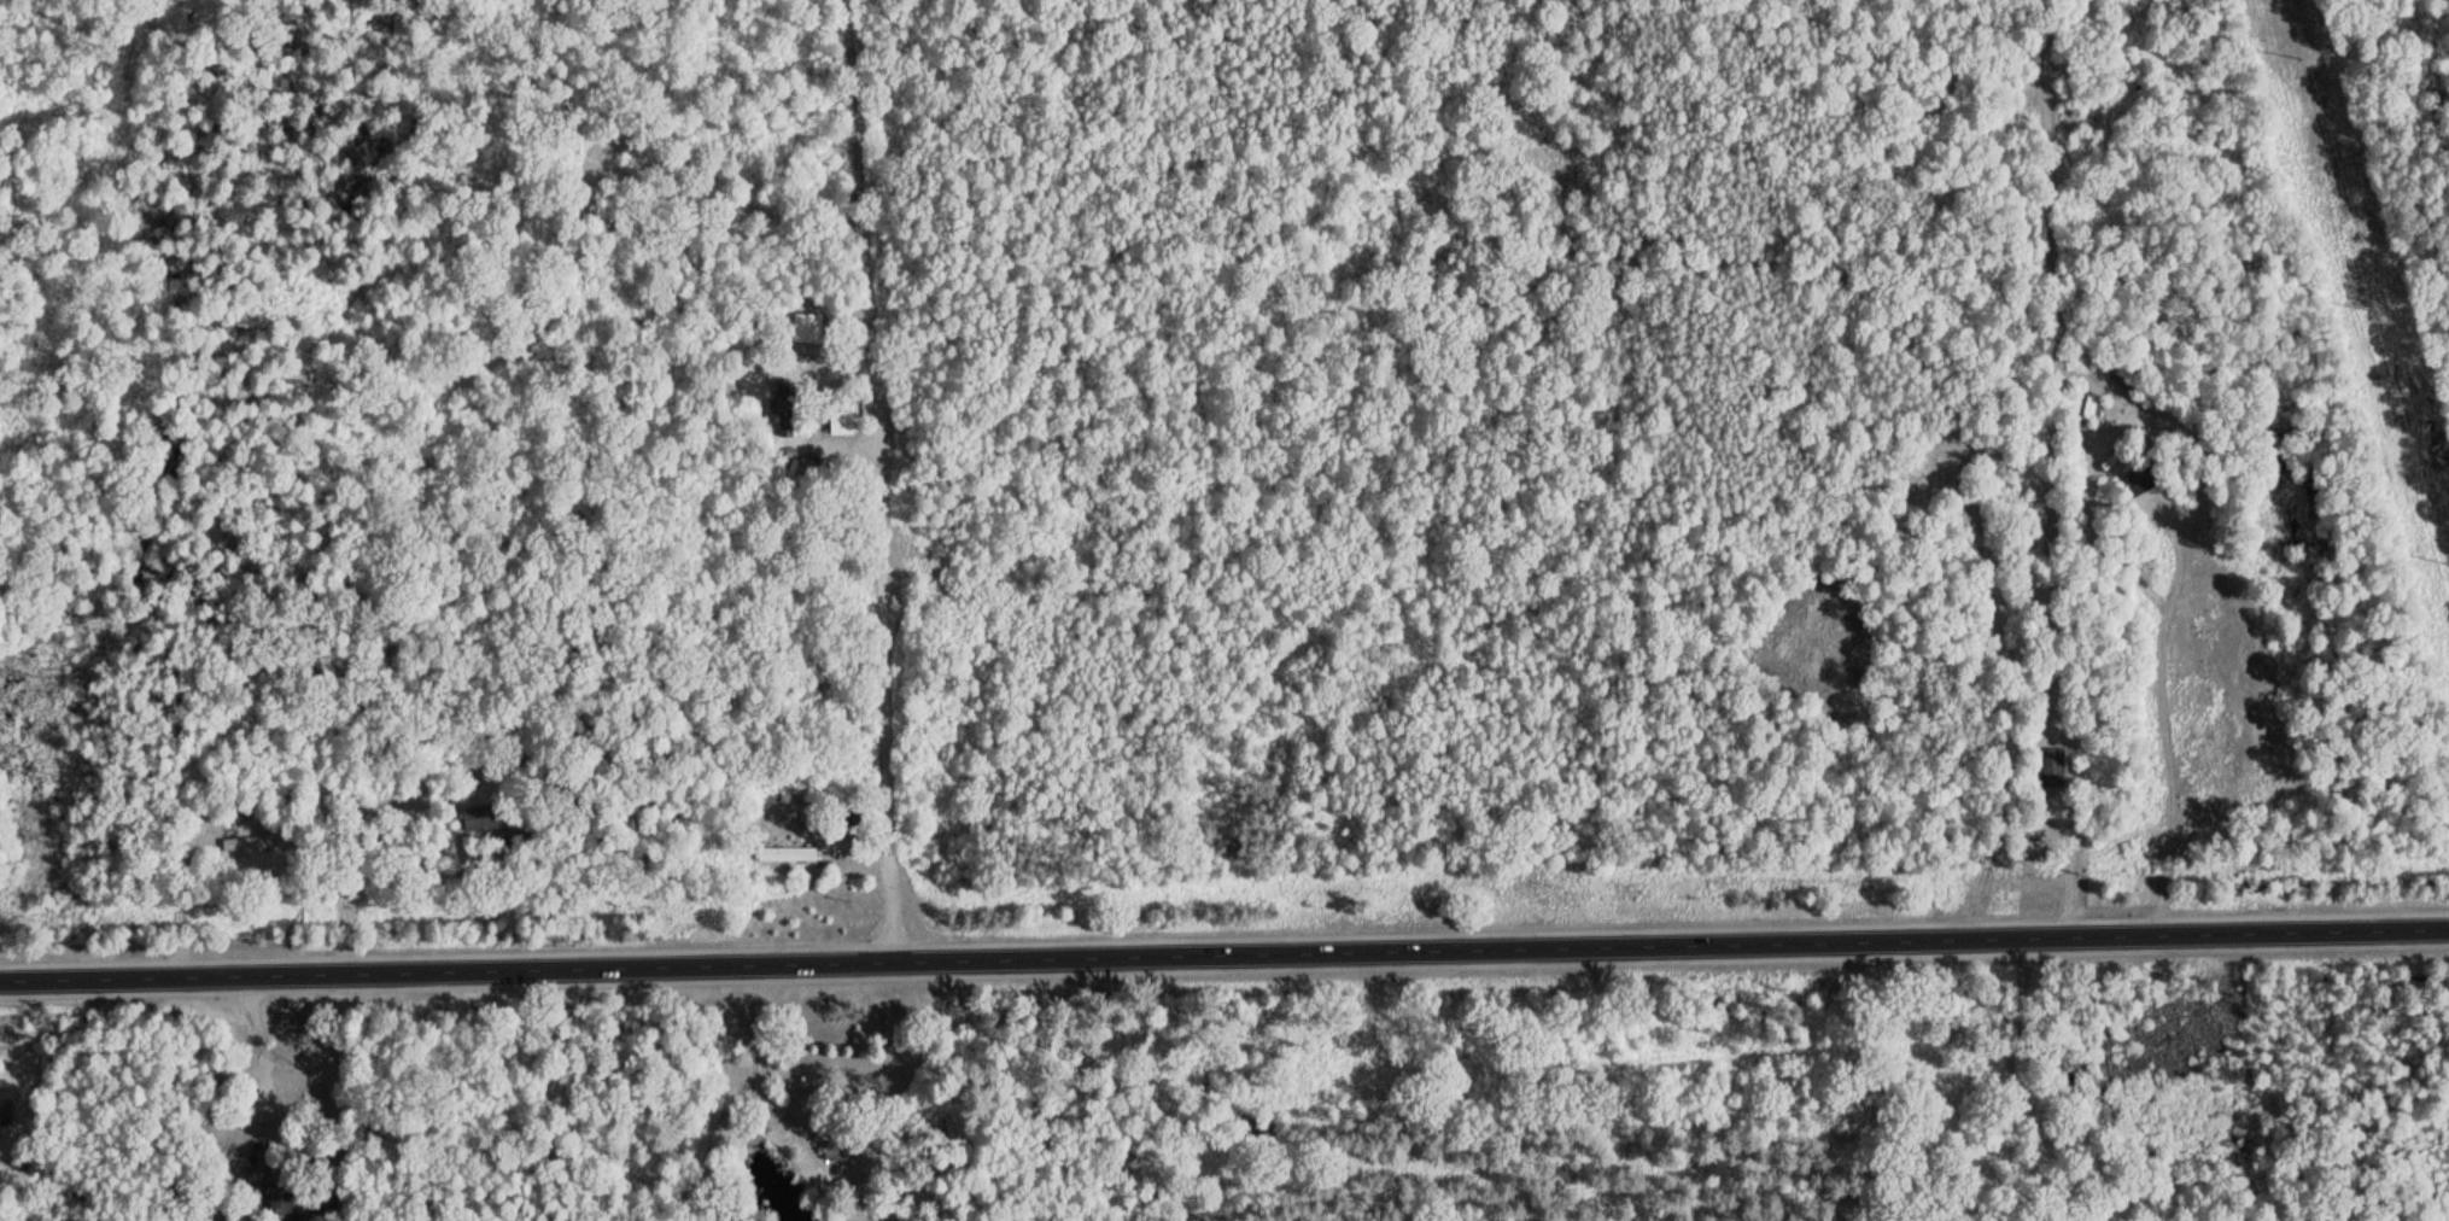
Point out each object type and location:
building: (2129, 405)
building: (2139, 479)
road: (899, 481)
building: (817, 689)
building: (257, 843)
building: (787, 853)
road: (1224, 957)
building: (12, 1118)
building: (842, 1147)

